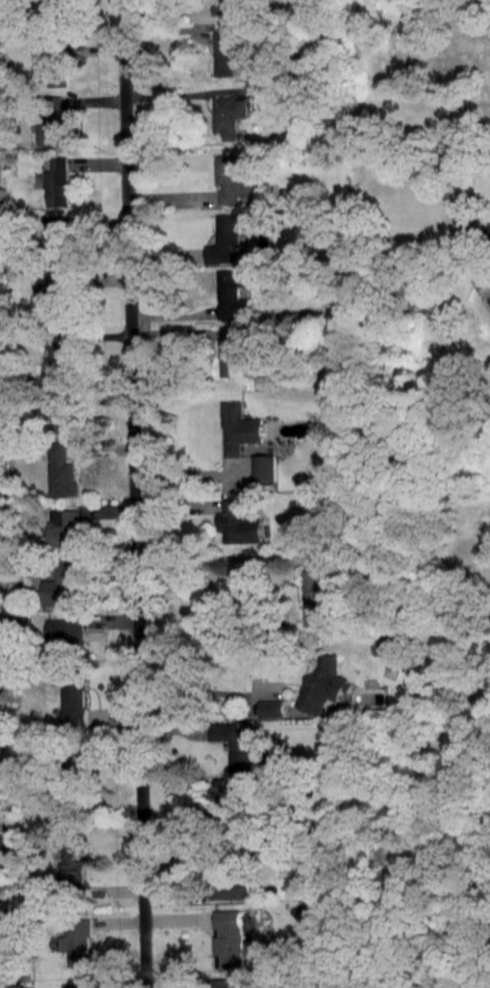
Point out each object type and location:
building: (228, 7)
building: (228, 51)
building: (52, 62)
building: (230, 114)
building: (54, 129)
building: (235, 175)
building: (59, 180)
building: (227, 239)
building: (59, 240)
building: (55, 293)
building: (234, 294)
building: (234, 349)
building: (60, 353)
building: (64, 410)
building: (240, 426)
building: (266, 466)
building: (61, 468)
road: (134, 493)
building: (239, 521)
building: (66, 527)
road: (211, 558)
building: (64, 583)
building: (313, 596)
building: (69, 635)
building: (391, 640)
building: (322, 681)
building: (74, 696)
building: (271, 705)
building: (236, 740)
building: (230, 797)
building: (4, 841)
building: (73, 866)
building: (224, 870)
building: (2, 881)
building: (229, 935)
building: (76, 938)
building: (220, 981)
building: (79, 984)

